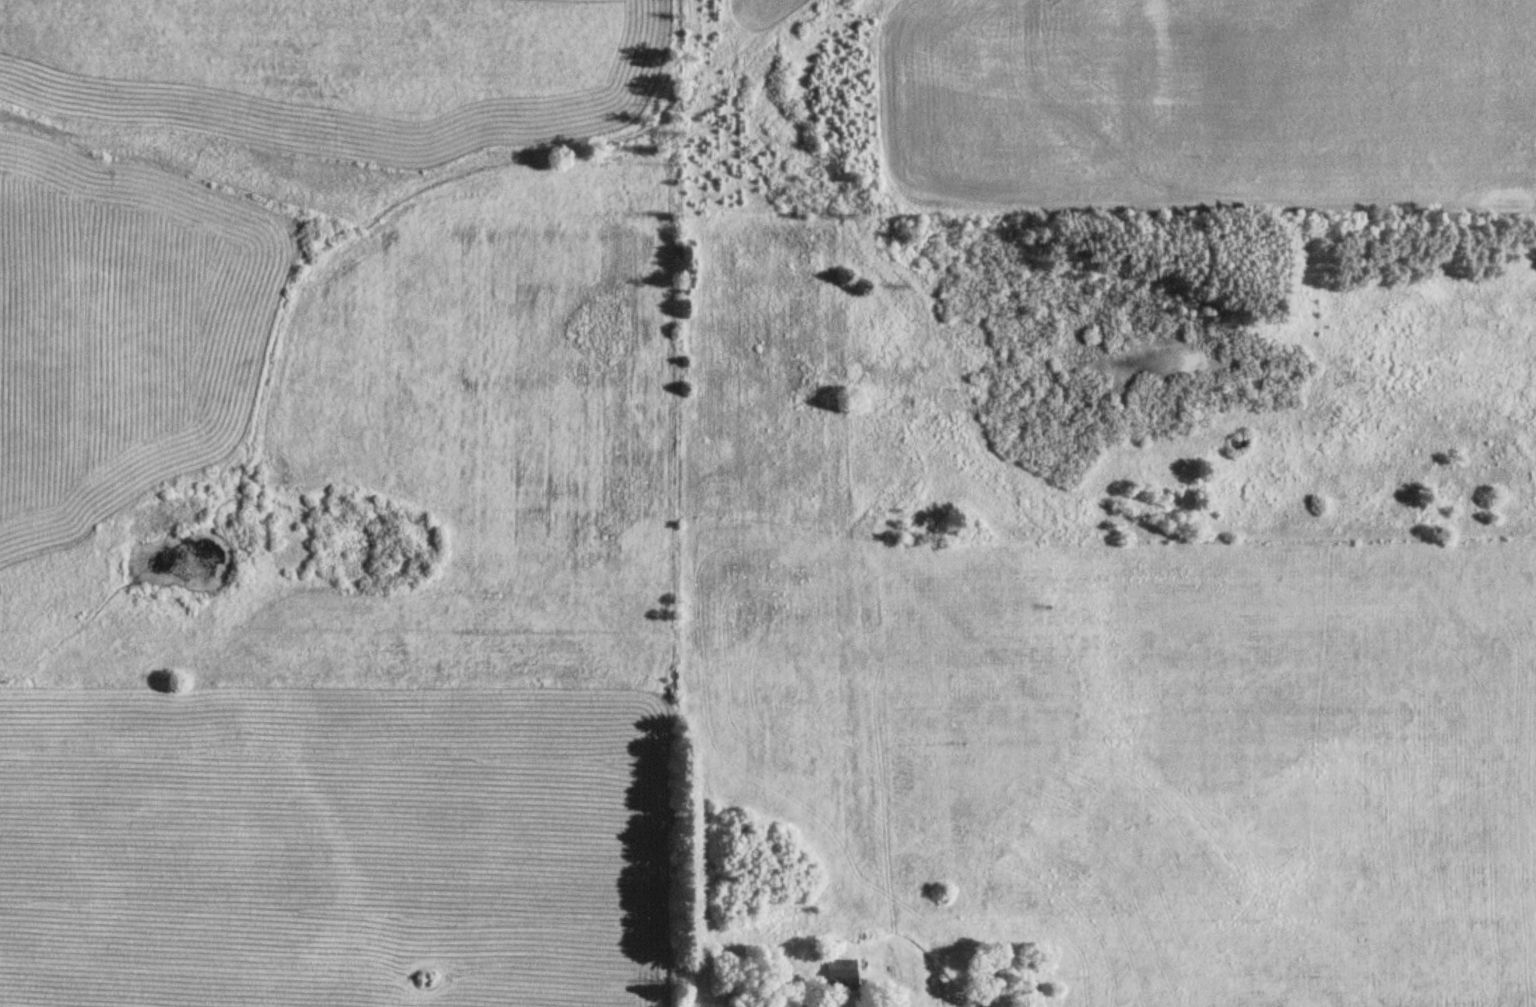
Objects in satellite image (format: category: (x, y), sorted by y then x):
building: (839, 975)

